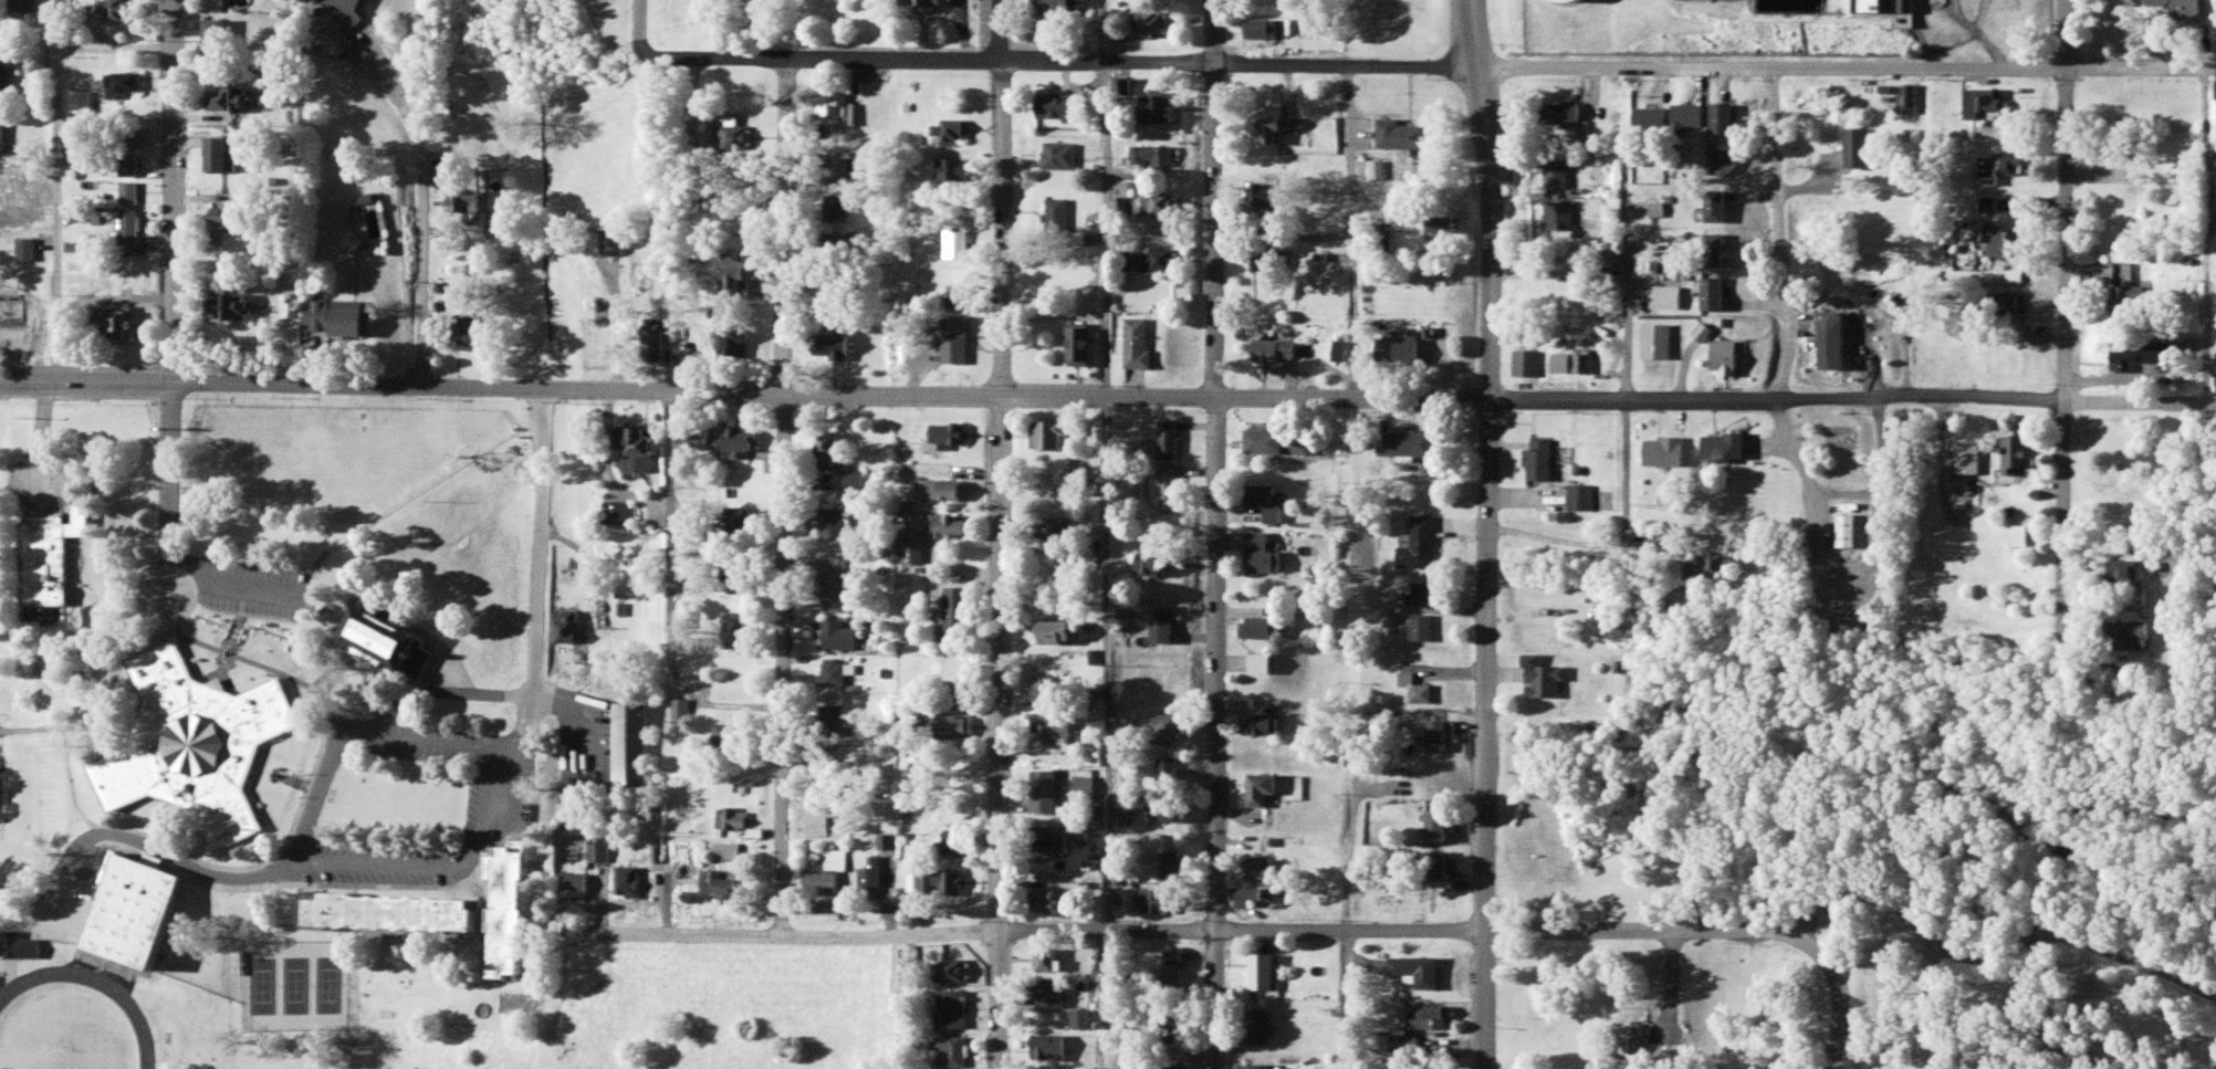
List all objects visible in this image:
building: (2182, 9)
road: (642, 28)
road: (1105, 32)
road: (1431, 65)
road: (56, 158)
building: (2123, 188)
road: (174, 191)
road: (425, 230)
road: (1783, 252)
building: (2123, 290)
road: (114, 298)
road: (2059, 319)
road: (1488, 382)
road: (743, 392)
road: (1852, 402)
road: (783, 497)
road: (1003, 534)
road: (1215, 534)
road: (1623, 541)
road: (540, 573)
road: (178, 612)
road: (430, 747)
road: (1961, 815)
road: (157, 855)
road: (384, 866)
park: (1864, 876)
building: (138, 901)
road: (1486, 918)
road: (1645, 930)
road: (1027, 931)
road: (1998, 952)
park: (295, 987)
park: (330, 987)
park: (261, 988)
road: (1844, 996)
stadium: (90, 1012)
park: (60, 1058)

